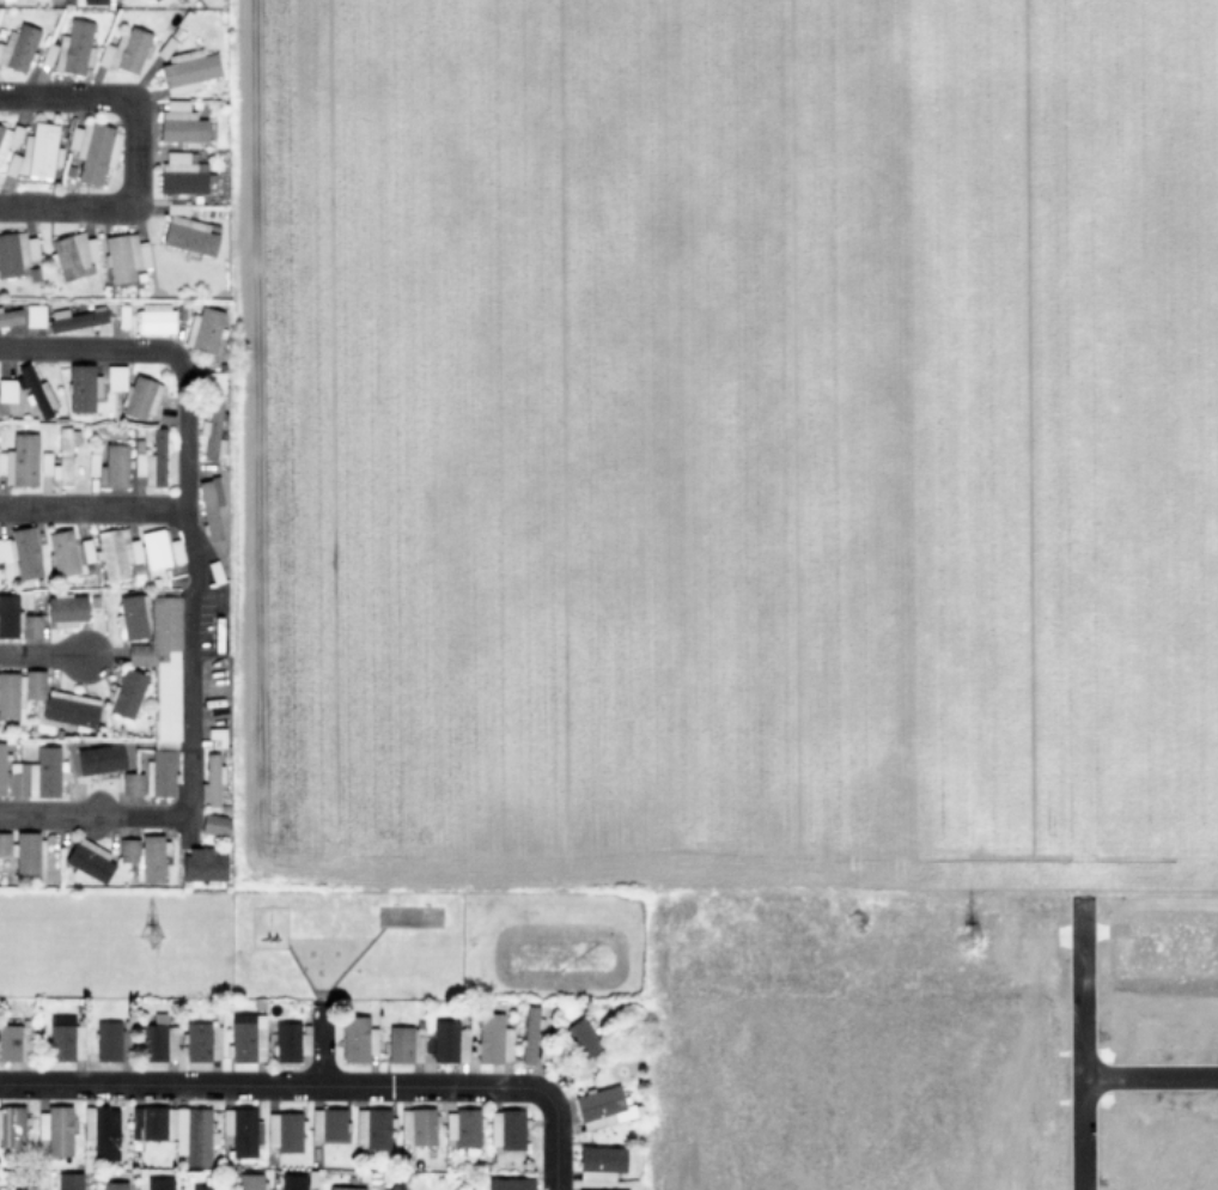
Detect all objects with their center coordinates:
building: (95, 1)
building: (18, 47)
building: (74, 47)
building: (124, 49)
building: (187, 71)
building: (181, 123)
building: (93, 148)
road: (133, 150)
building: (36, 152)
building: (182, 174)
building: (189, 235)
building: (16, 251)
building: (73, 255)
building: (124, 256)
building: (34, 315)
building: (10, 316)
building: (154, 317)
building: (74, 318)
building: (203, 329)
road: (165, 351)
building: (212, 381)
building: (83, 387)
building: (7, 389)
building: (36, 391)
building: (133, 393)
building: (213, 430)
crop: (723, 444)
building: (19, 460)
building: (152, 461)
building: (109, 466)
building: (209, 506)
road: (91, 508)
building: (160, 548)
building: (67, 551)
building: (22, 552)
building: (116, 552)
building: (66, 609)
building: (132, 617)
building: (17, 619)
road: (41, 655)
building: (162, 664)
road: (187, 668)
building: (19, 690)
building: (128, 692)
building: (69, 708)
building: (99, 758)
building: (1, 765)
building: (159, 772)
building: (36, 773)
building: (211, 781)
building: (132, 783)
road: (83, 814)
building: (214, 824)
building: (24, 852)
building: (144, 855)
building: (89, 861)
building: (202, 864)
power tower: (150, 933)
power tower: (968, 935)
building: (528, 1033)
building: (248, 1038)
building: (357, 1038)
building: (493, 1038)
building: (111, 1040)
building: (201, 1040)
building: (449, 1040)
building: (14, 1042)
building: (66, 1042)
building: (290, 1042)
building: (403, 1043)
road: (318, 1045)
road: (1150, 1077)
road: (322, 1086)
building: (602, 1107)
building: (328, 1123)
building: (11, 1125)
building: (416, 1125)
building: (462, 1127)
building: (372, 1128)
building: (506, 1128)
building: (55, 1129)
building: (176, 1129)
building: (242, 1130)
building: (284, 1130)
road: (1083, 1134)
building: (99, 1135)
building: (599, 1161)
building: (68, 1180)
building: (249, 1180)
building: (293, 1182)
building: (159, 1183)
building: (510, 1183)
building: (114, 1185)
building: (203, 1186)
building: (392, 1186)
building: (345, 1188)
building: (24, 1189)
building: (591, 1189)

